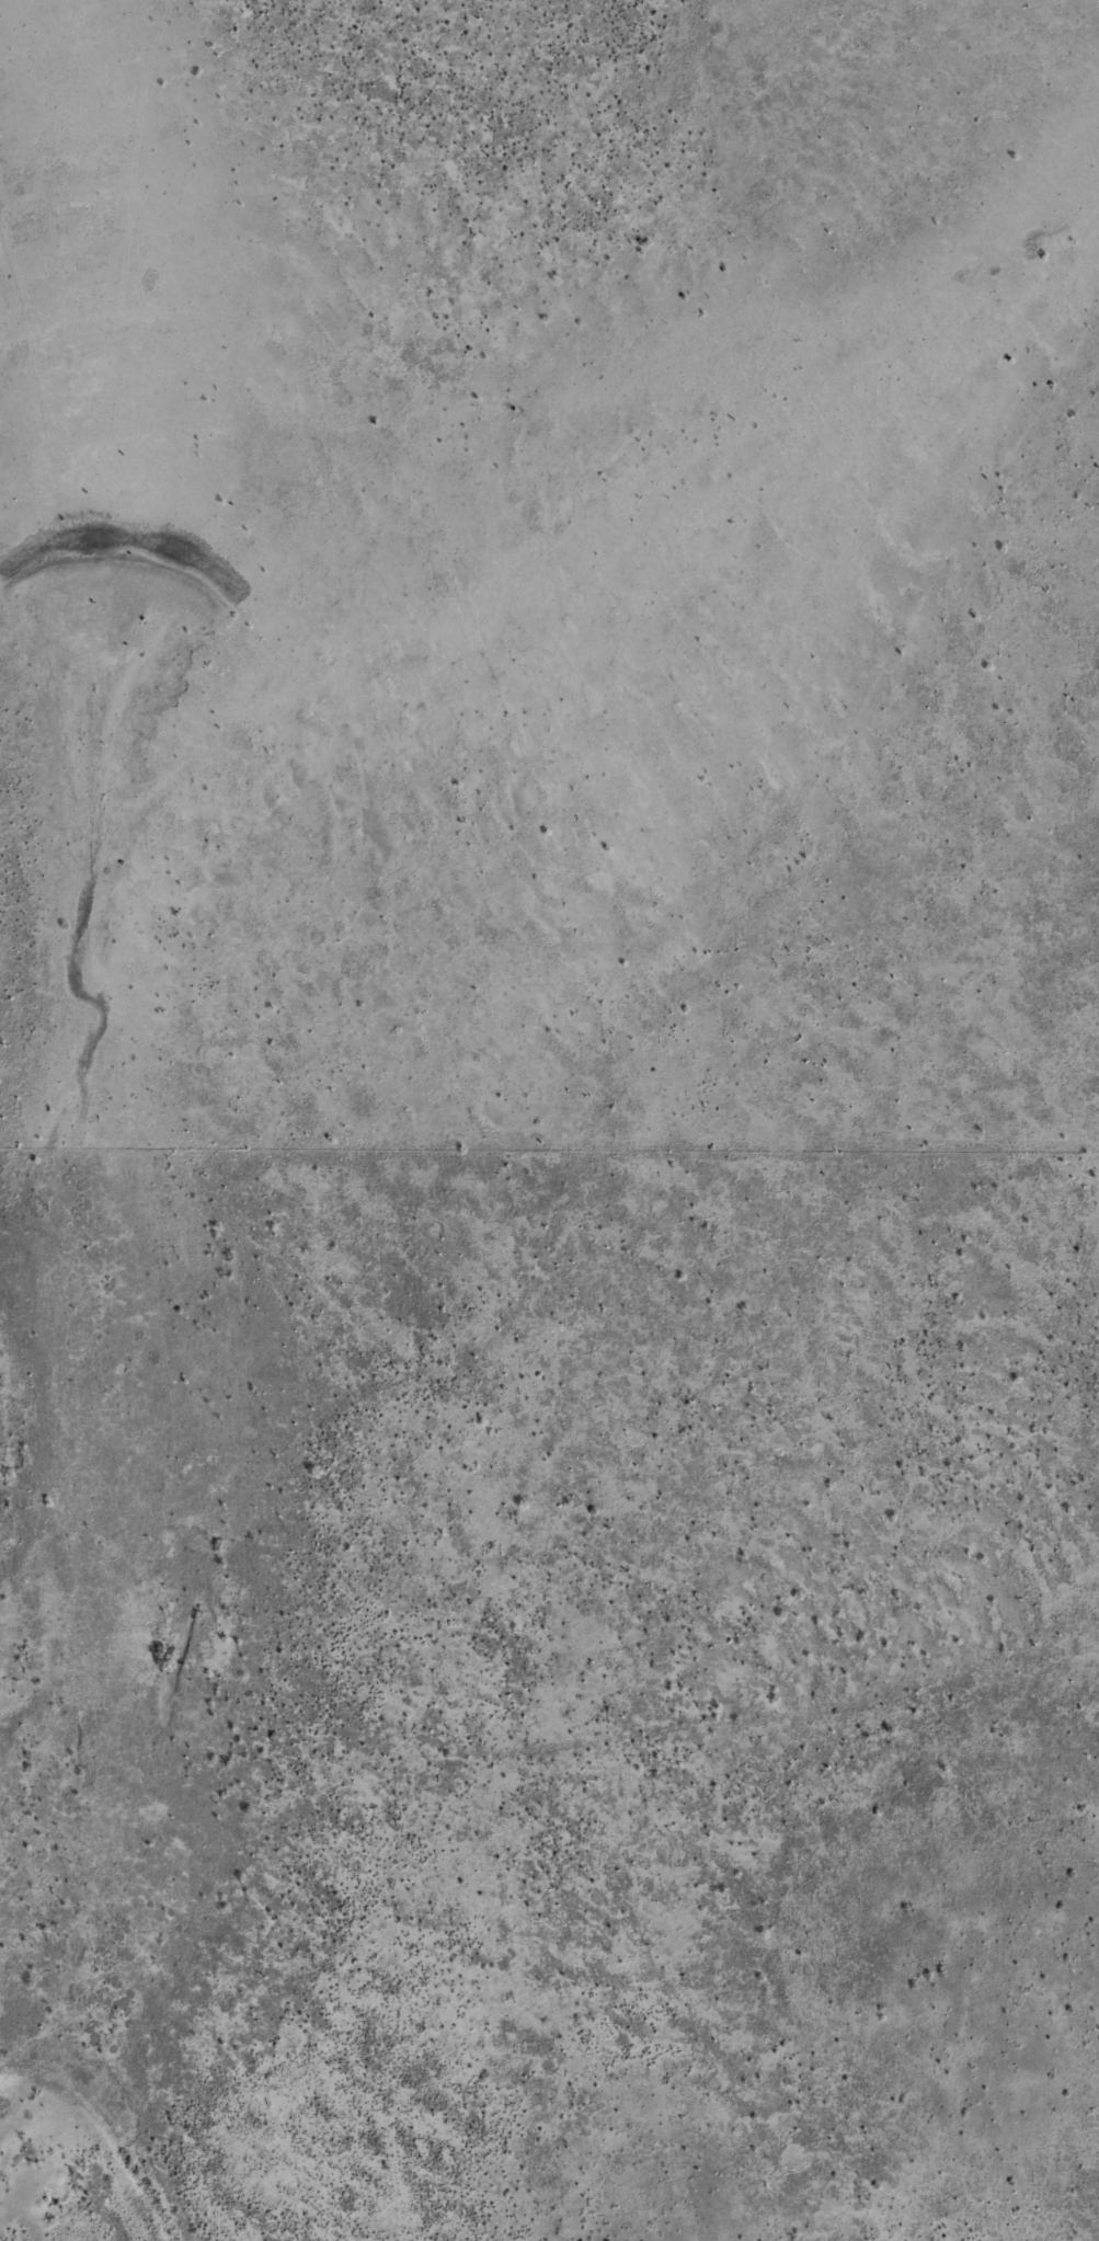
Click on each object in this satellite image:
road: (630, 1112)

